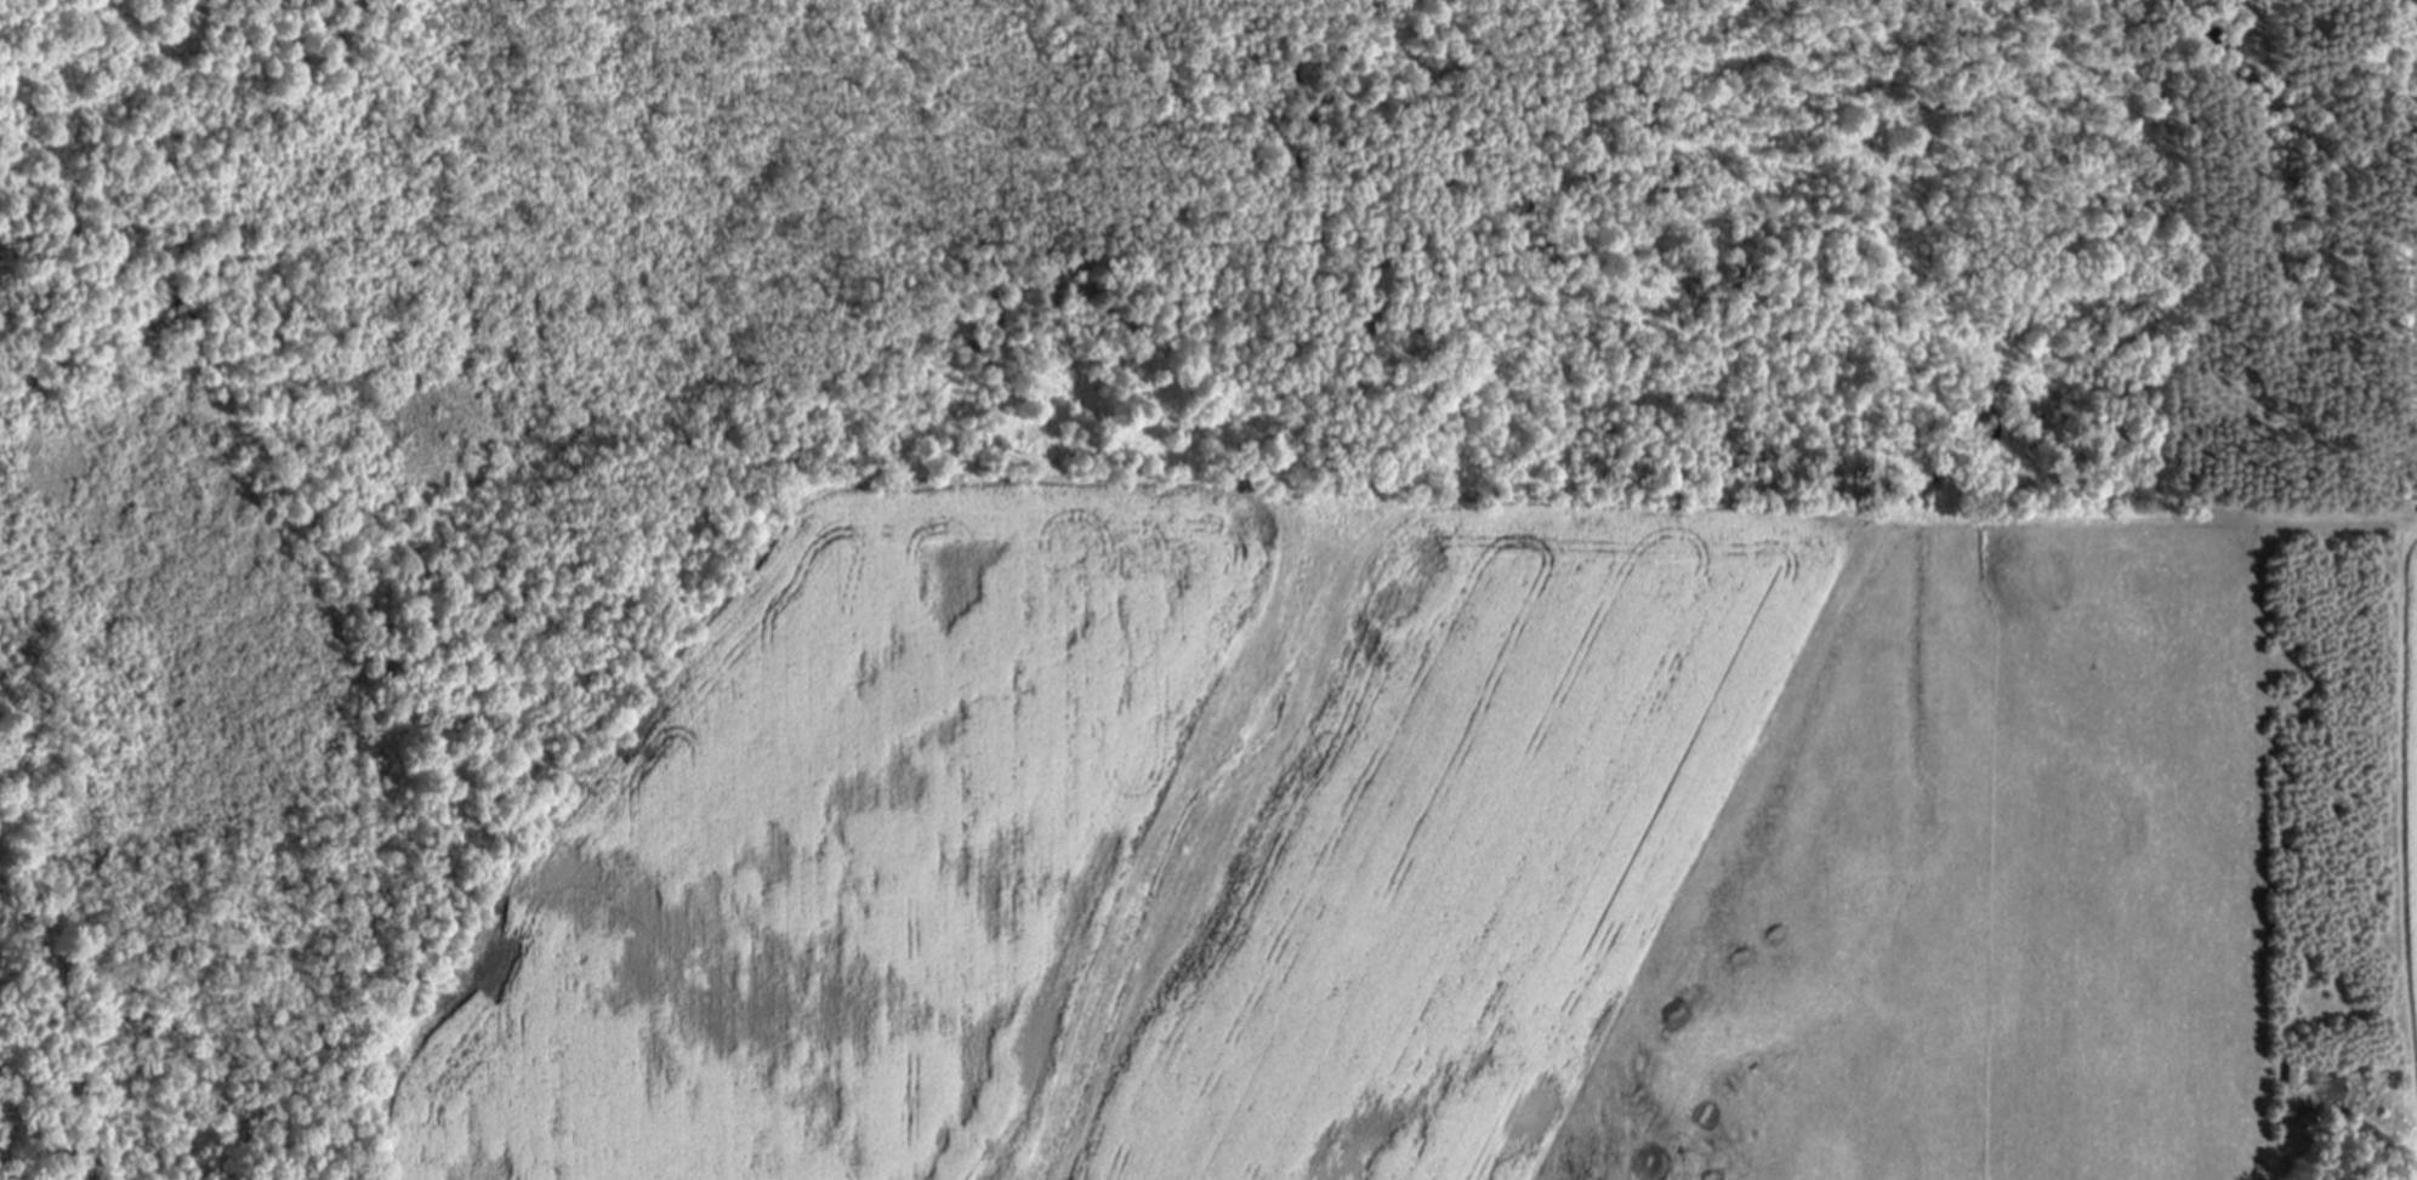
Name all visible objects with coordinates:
building: (2290, 1090)

